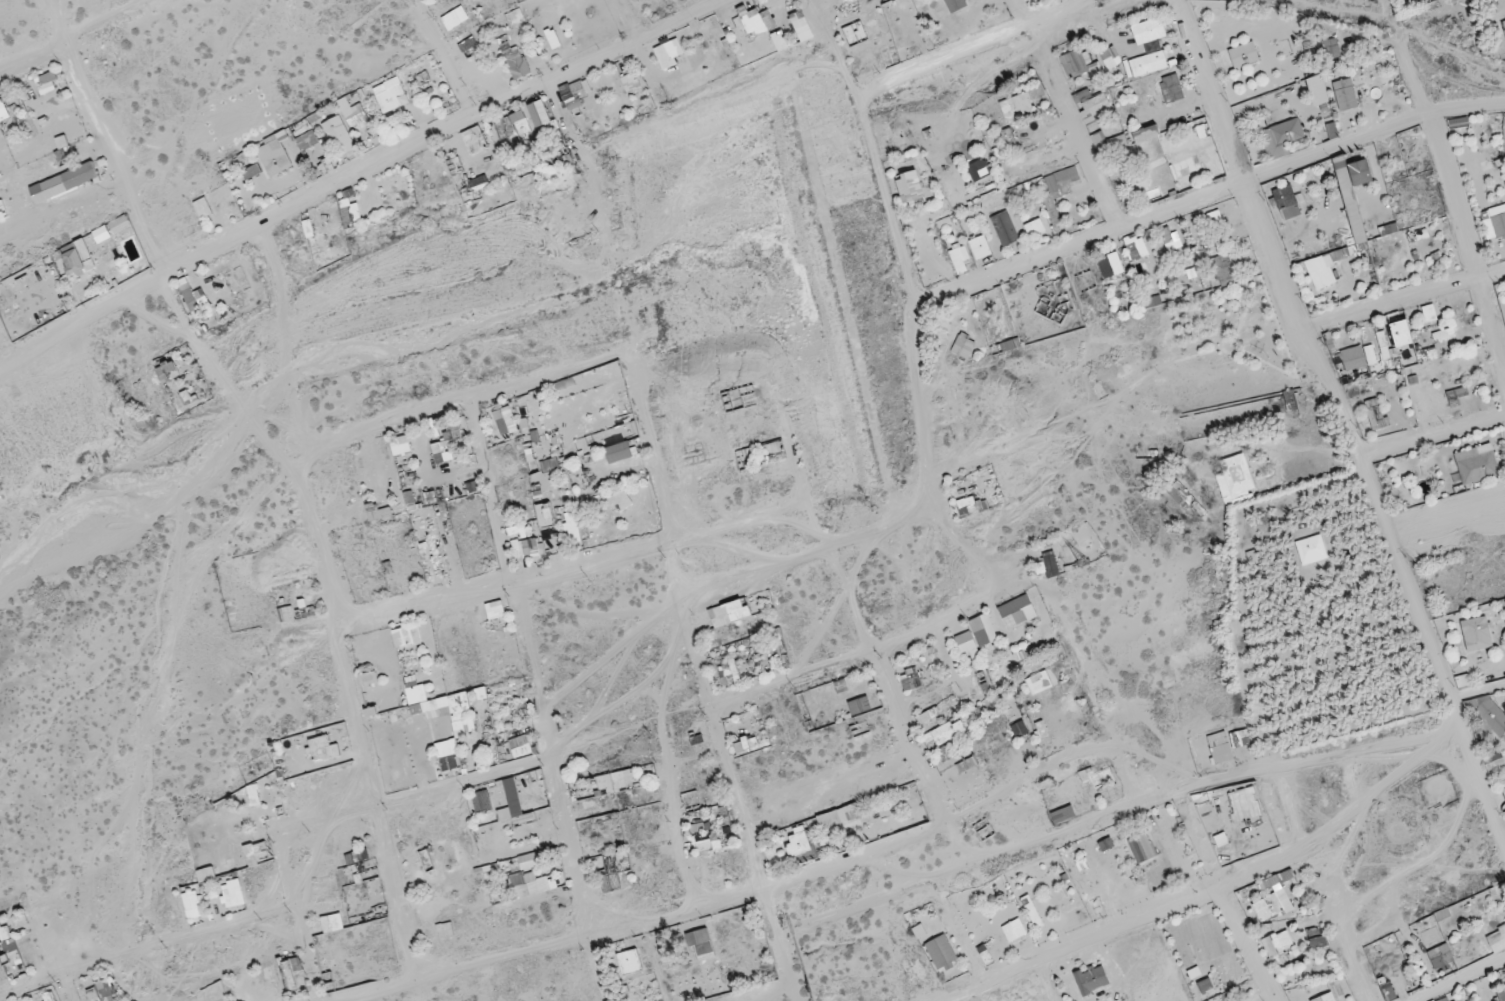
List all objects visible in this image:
power tower: (1082, 562)

